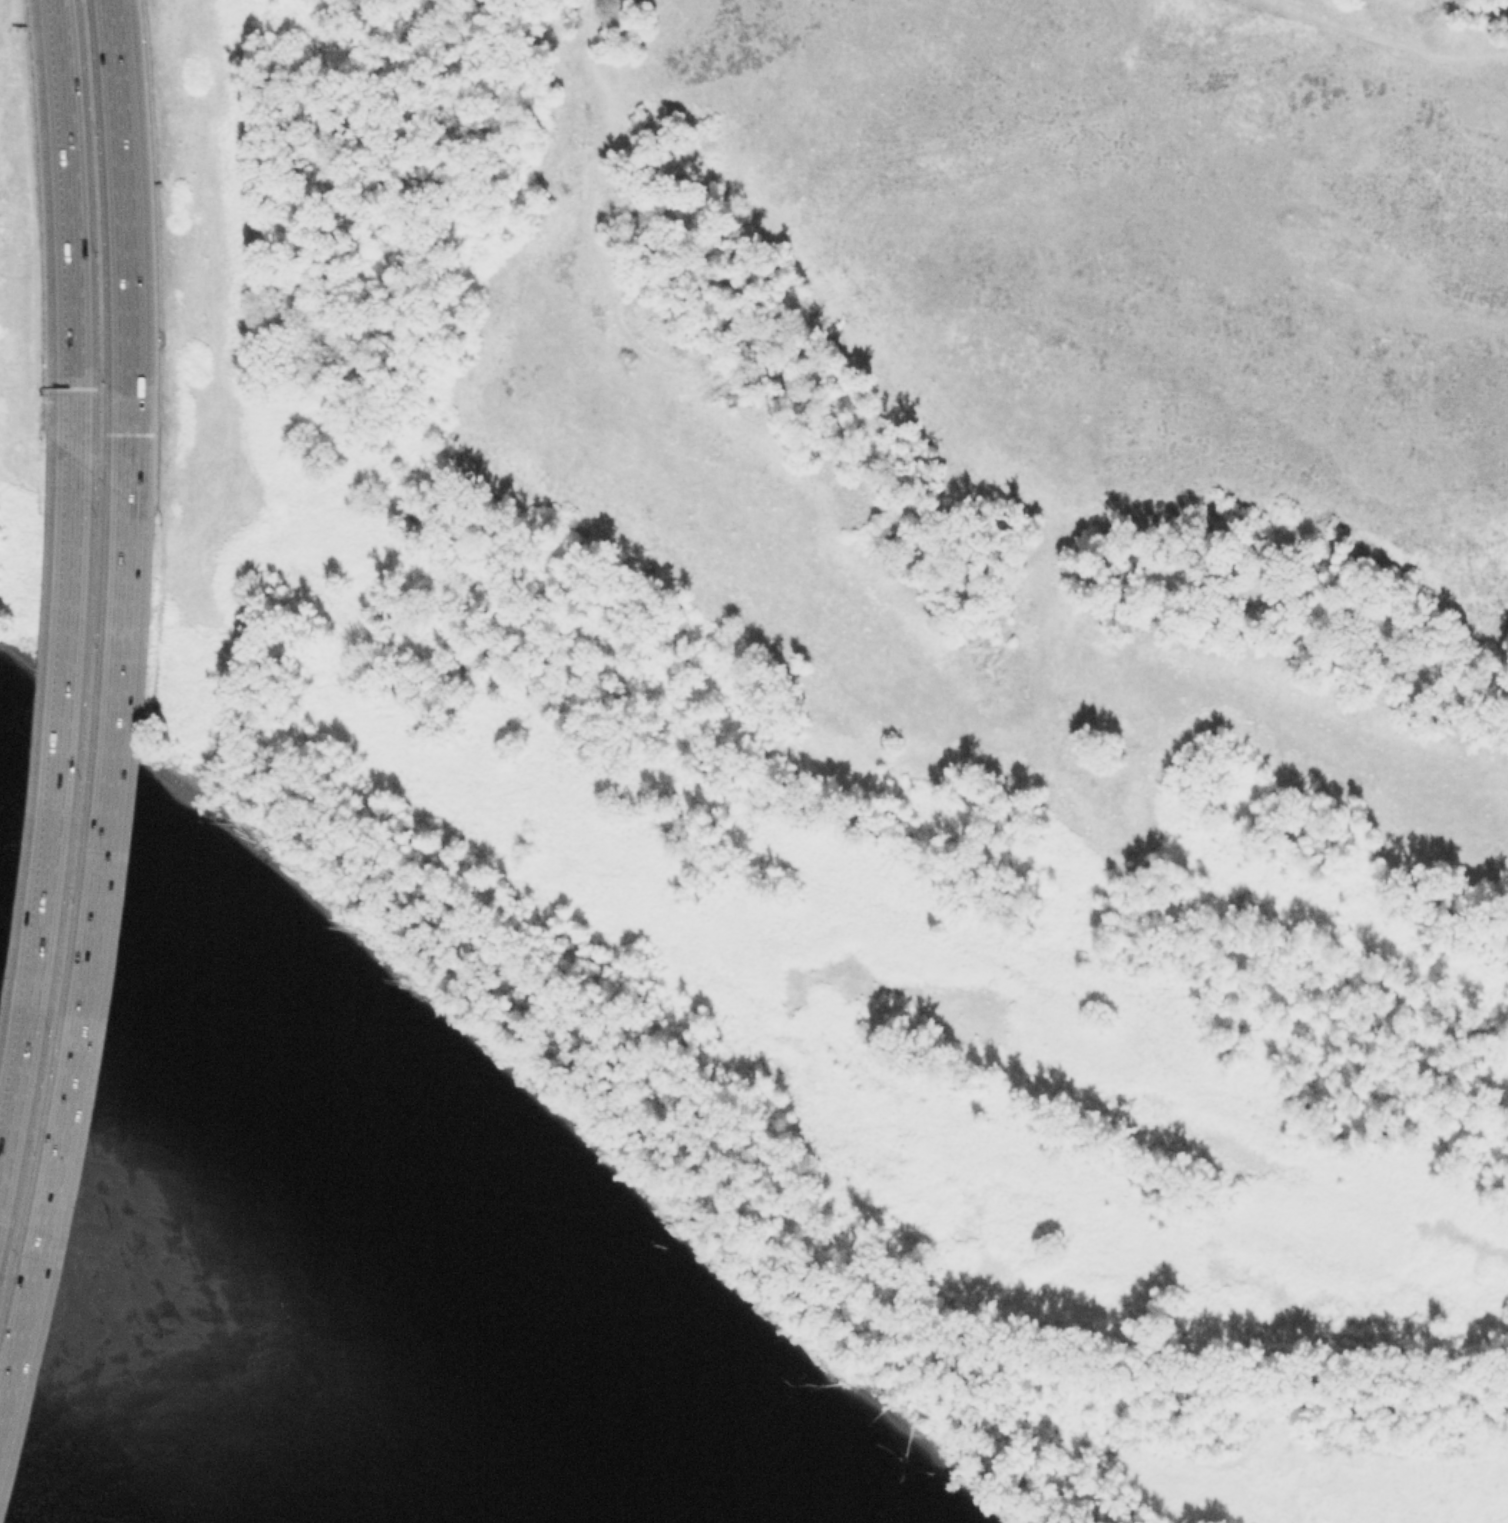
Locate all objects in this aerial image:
road: (78, 231)
road: (96, 238)
road: (115, 245)
road: (56, 836)
road: (68, 889)
road: (81, 939)

